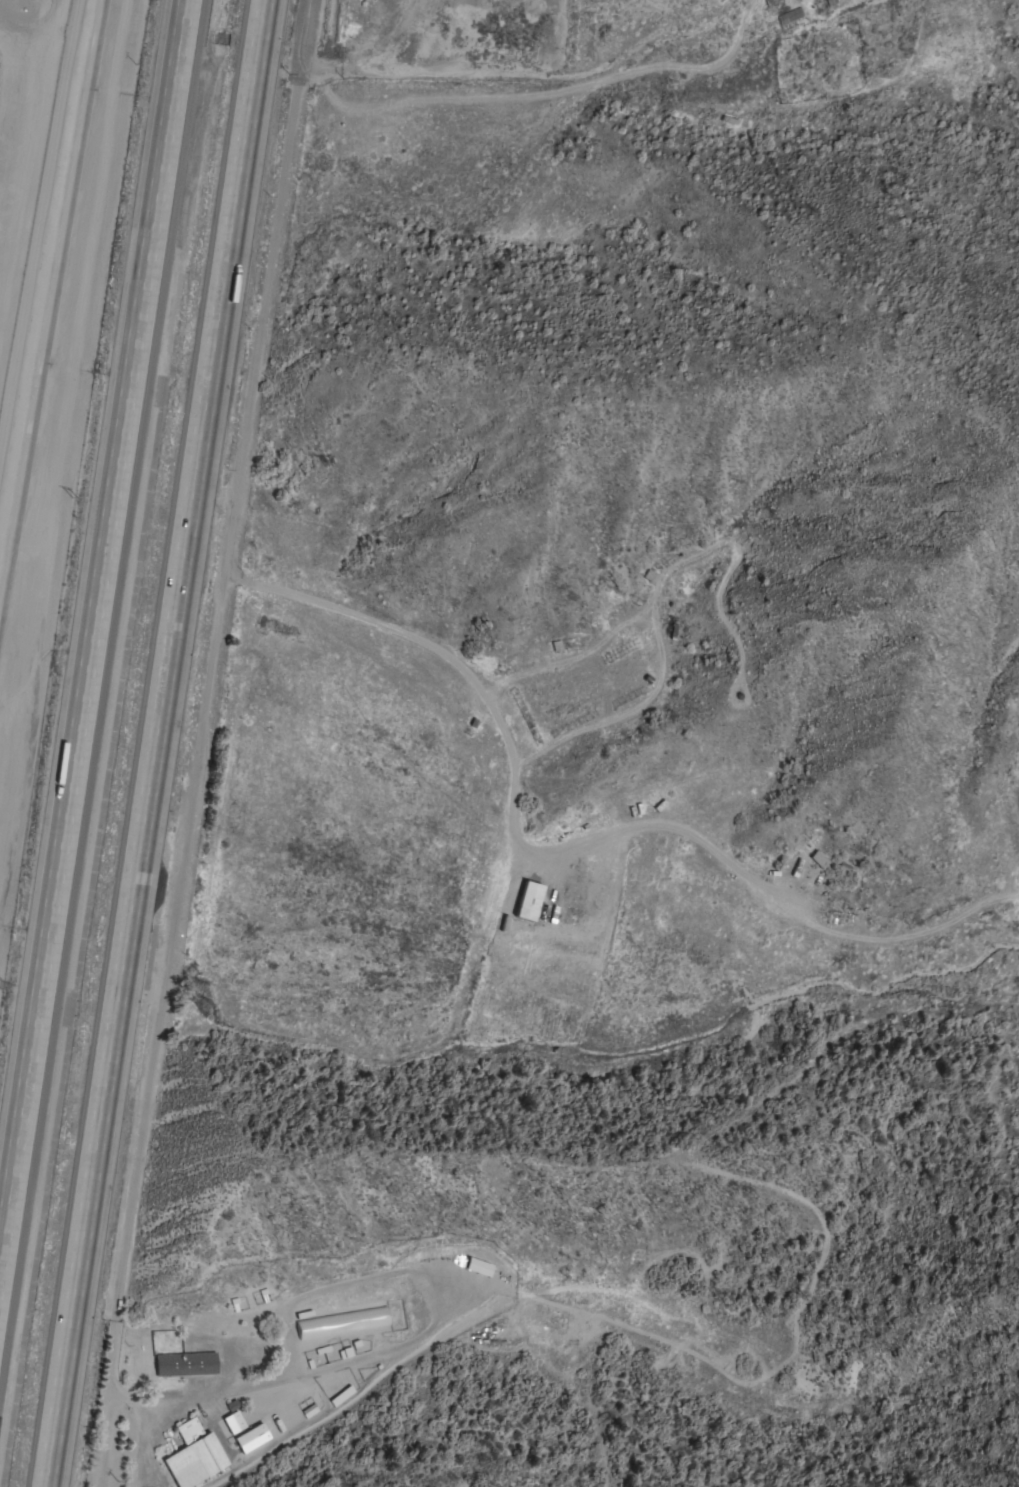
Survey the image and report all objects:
building: (830, 2)
building: (788, 16)
road: (531, 75)
road: (92, 629)
road: (205, 699)
road: (156, 743)
building: (820, 859)
building: (528, 901)
building: (539, 912)
building: (478, 1267)
building: (343, 1323)
building: (345, 1352)
building: (186, 1364)
building: (342, 1396)
building: (311, 1410)
building: (233, 1418)
building: (252, 1438)
building: (195, 1456)

